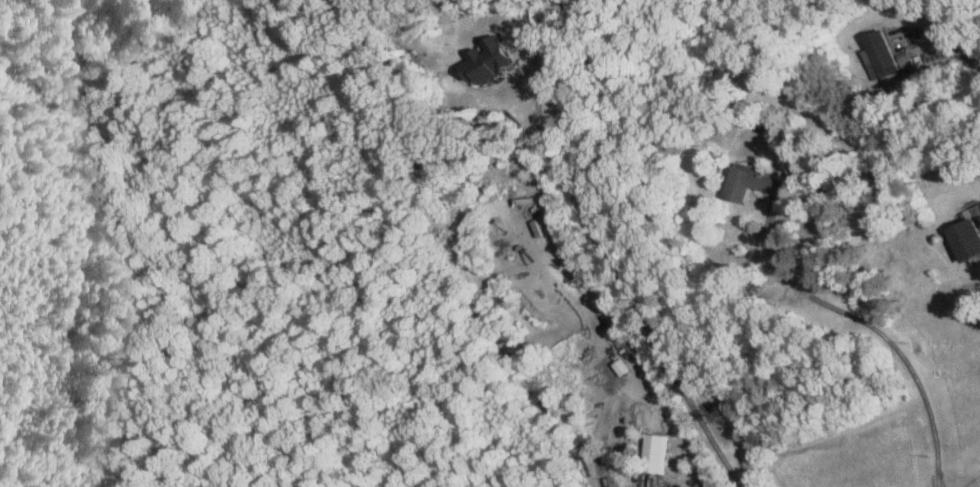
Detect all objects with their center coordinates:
building: (881, 55)
building: (491, 59)
building: (752, 181)
building: (971, 211)
building: (968, 237)
road: (616, 271)
road: (877, 329)
road: (675, 429)
building: (656, 451)
building: (708, 479)

